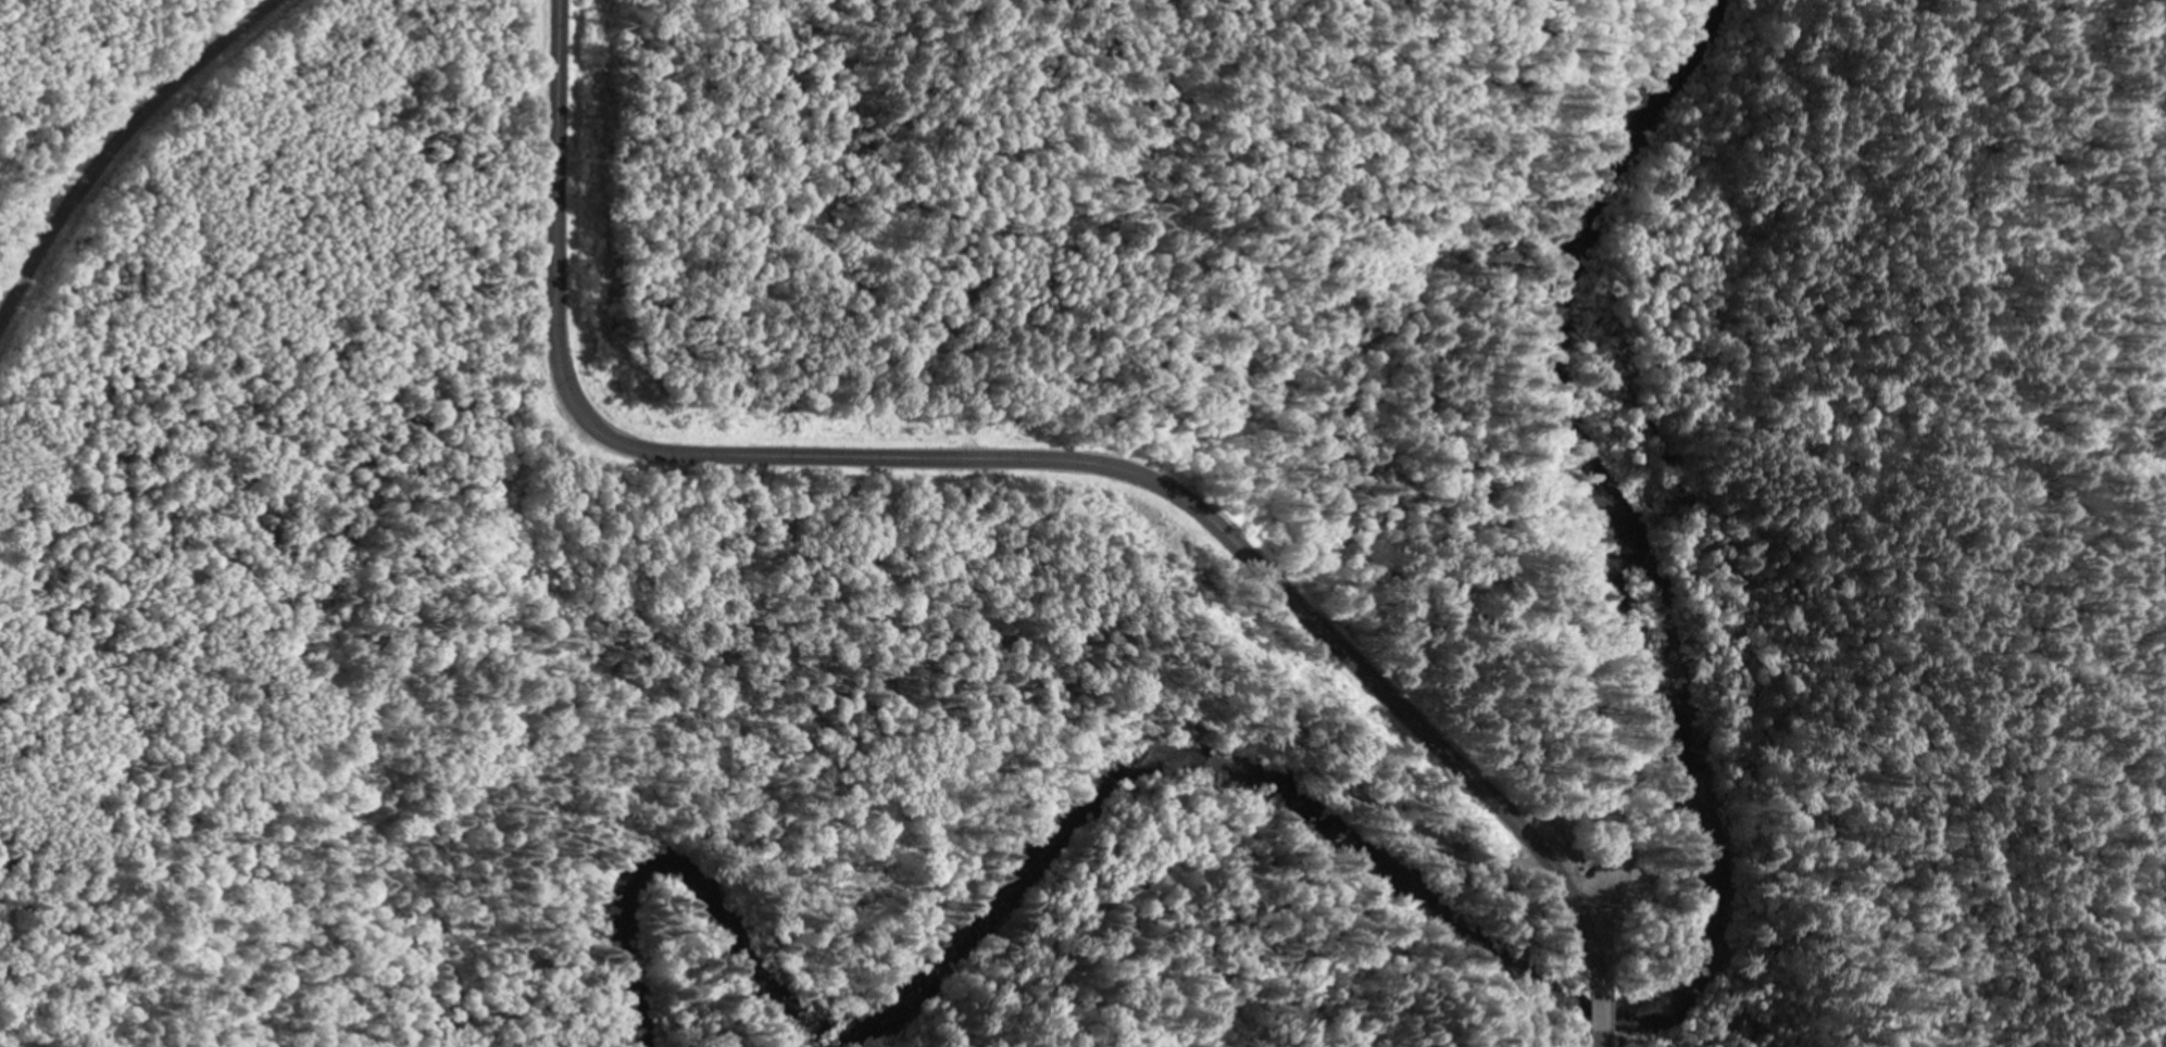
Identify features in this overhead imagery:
road: (114, 144)
road: (997, 461)
park: (1072, 523)
building: (1460, 841)
road: (1599, 1017)

